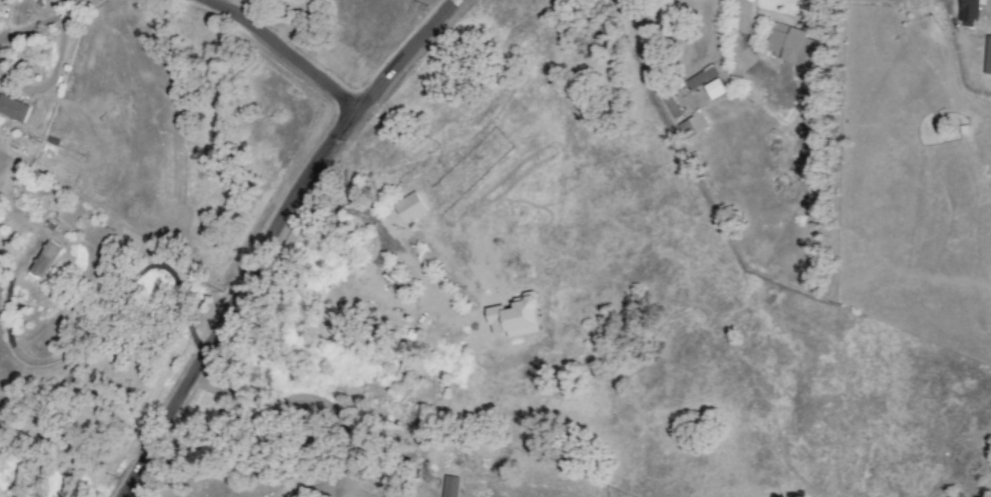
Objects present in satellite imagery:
building: (4, 1)
road: (77, 6)
building: (968, 13)
road: (30, 25)
building: (792, 45)
road: (286, 50)
building: (987, 55)
road: (52, 74)
building: (700, 77)
building: (714, 88)
building: (672, 106)
building: (13, 108)
building: (691, 126)
road: (345, 211)
road: (269, 233)
building: (44, 260)
road: (96, 320)
road: (295, 397)
building: (450, 486)
road: (317, 488)
road: (339, 493)

